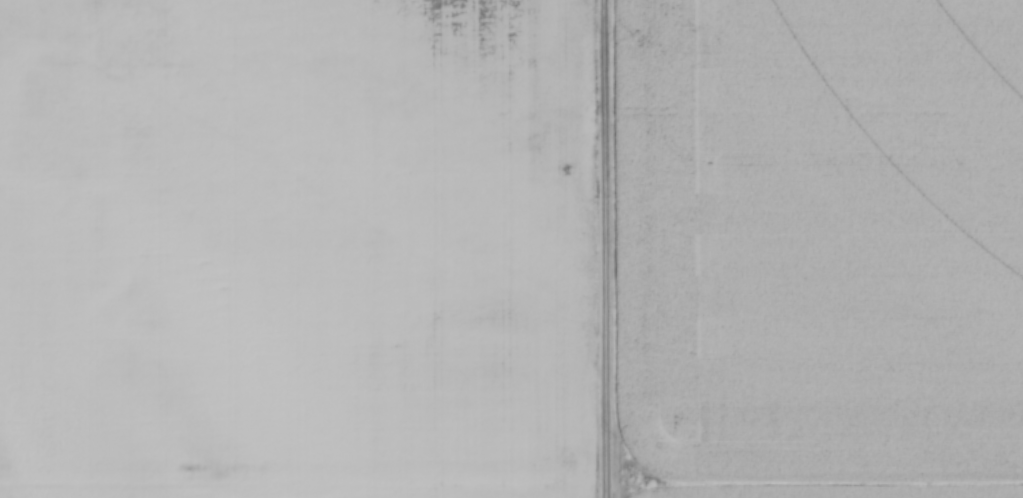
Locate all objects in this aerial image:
road: (603, 249)

